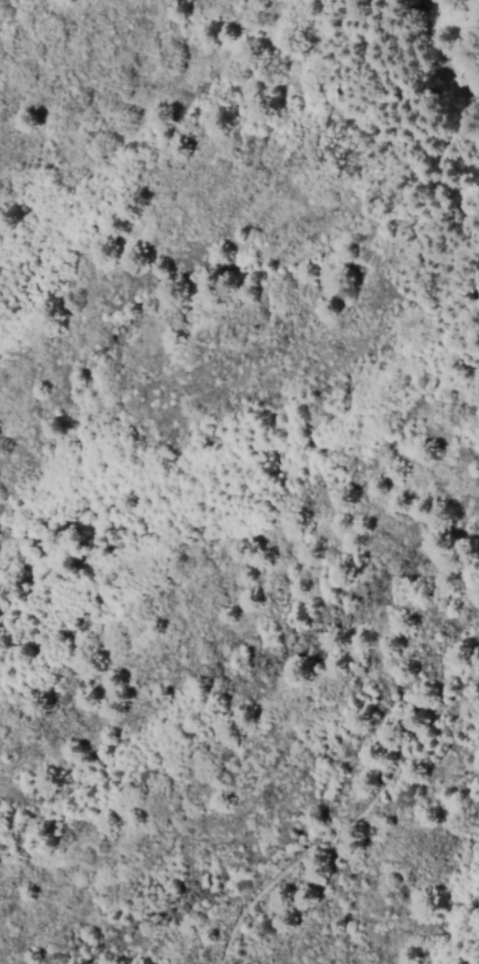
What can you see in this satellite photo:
road: (439, 54)
road: (360, 817)

